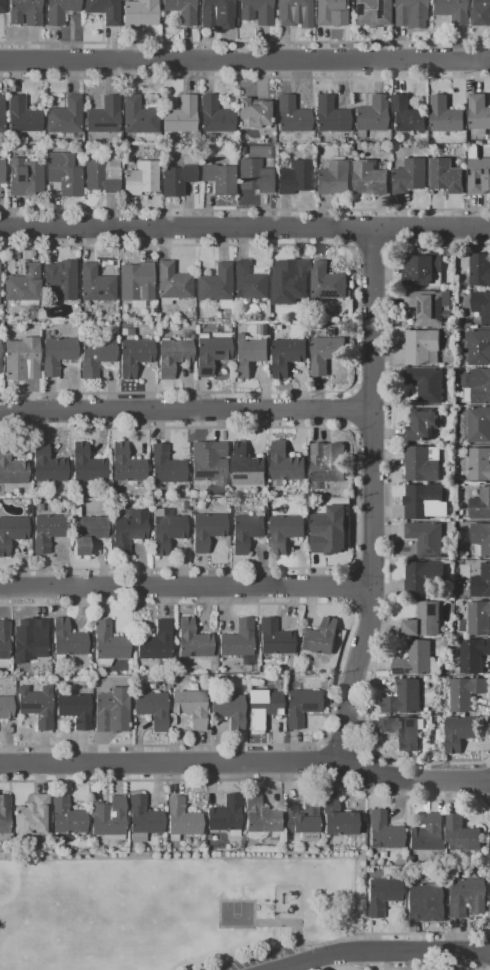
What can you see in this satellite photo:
building: (3, 7)
building: (408, 10)
building: (62, 11)
building: (107, 11)
building: (184, 11)
building: (216, 11)
building: (331, 11)
building: (452, 11)
building: (27, 13)
building: (142, 13)
building: (374, 13)
building: (480, 13)
building: (296, 14)
building: (266, 17)
road: (245, 63)
building: (480, 113)
building: (259, 114)
building: (3, 116)
building: (374, 116)
building: (64, 117)
building: (141, 117)
building: (183, 117)
building: (217, 117)
building: (332, 117)
building: (409, 117)
building: (448, 117)
building: (25, 118)
building: (106, 118)
building: (294, 118)
building: (3, 173)
building: (66, 176)
building: (104, 177)
building: (449, 177)
building: (480, 177)
building: (27, 178)
building: (257, 178)
building: (413, 178)
building: (297, 179)
building: (143, 180)
building: (222, 180)
building: (337, 180)
building: (372, 180)
building: (179, 181)
road: (245, 230)
building: (426, 271)
building: (481, 271)
building: (63, 281)
building: (139, 283)
building: (292, 283)
building: (329, 283)
building: (175, 284)
building: (252, 284)
building: (0, 285)
building: (25, 286)
building: (98, 286)
building: (217, 286)
building: (431, 307)
building: (483, 307)
building: (267, 331)
building: (425, 348)
building: (479, 348)
building: (329, 354)
building: (289, 355)
building: (59, 356)
building: (98, 356)
building: (214, 356)
building: (251, 356)
building: (136, 358)
building: (175, 358)
building: (1, 359)
building: (24, 361)
building: (429, 385)
building: (478, 387)
road: (185, 409)
building: (426, 425)
building: (480, 426)
building: (330, 463)
building: (288, 464)
building: (425, 464)
building: (209, 465)
building: (50, 466)
building: (90, 466)
building: (129, 466)
building: (481, 466)
building: (169, 468)
building: (249, 468)
building: (12, 469)
road: (370, 498)
building: (423, 502)
building: (481, 507)
building: (328, 531)
building: (131, 532)
building: (209, 532)
building: (248, 533)
building: (289, 533)
building: (50, 534)
building: (12, 535)
building: (90, 535)
building: (169, 535)
building: (483, 539)
building: (429, 540)
building: (425, 578)
building: (483, 584)
road: (185, 586)
building: (480, 619)
building: (427, 621)
building: (277, 639)
building: (323, 639)
building: (5, 641)
building: (70, 641)
building: (195, 641)
building: (241, 641)
building: (35, 643)
building: (111, 644)
building: (158, 644)
building: (475, 657)
building: (417, 660)
building: (468, 694)
building: (406, 699)
building: (39, 707)
building: (303, 708)
building: (7, 709)
building: (193, 709)
building: (265, 709)
building: (77, 711)
building: (154, 711)
building: (231, 712)
building: (114, 713)
building: (462, 732)
building: (404, 733)
road: (245, 763)
building: (5, 816)
building: (229, 817)
building: (262, 817)
building: (35, 818)
building: (70, 819)
building: (111, 819)
building: (146, 819)
building: (185, 820)
building: (340, 820)
building: (305, 821)
building: (386, 833)
building: (430, 836)
building: (464, 836)
building: (465, 896)
building: (383, 897)
building: (426, 904)
park: (172, 907)
park: (235, 915)
road: (282, 924)
road: (385, 954)
parking lot: (253, 959)

